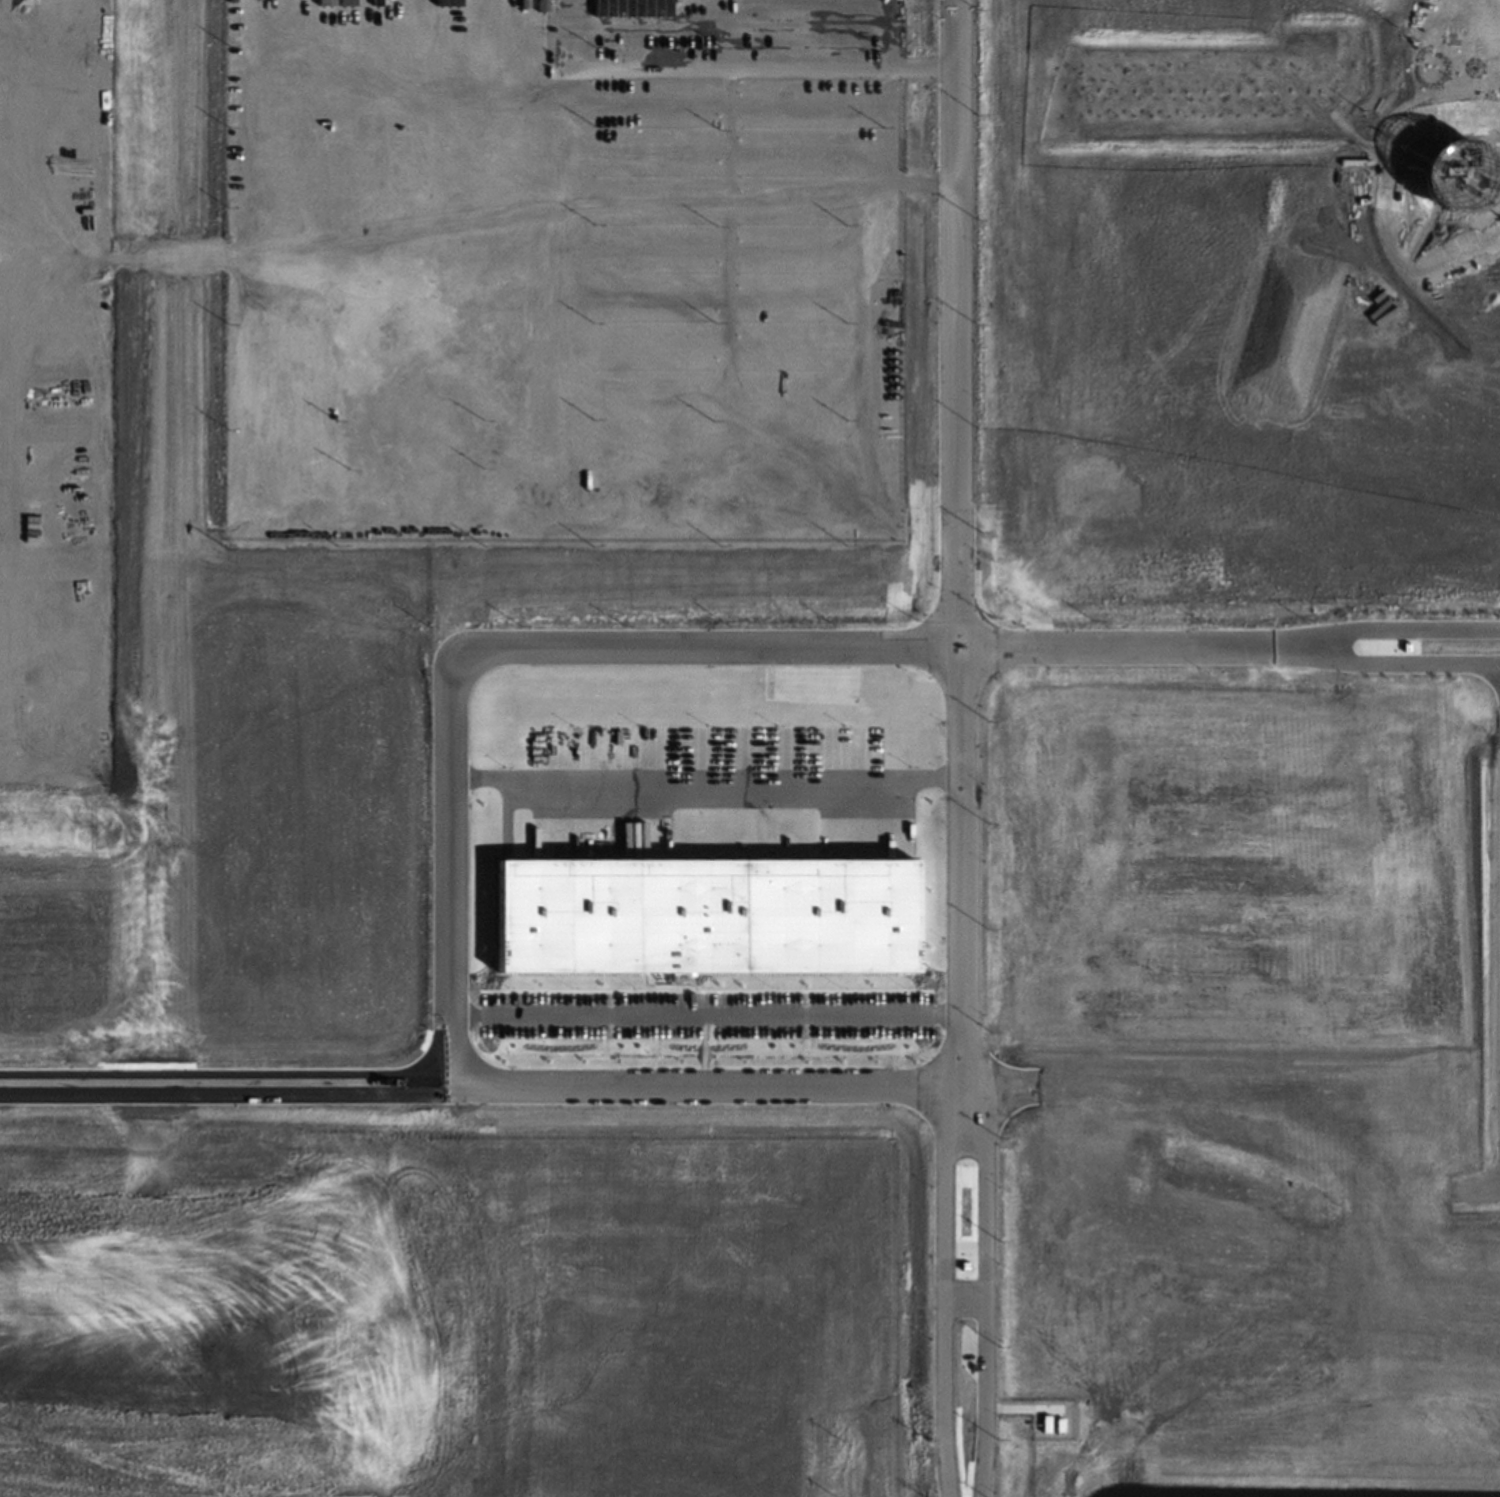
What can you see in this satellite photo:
building: (631, 8)
road: (766, 66)
building: (1454, 176)
road: (954, 541)
road: (1386, 627)
road: (650, 647)
road: (1387, 663)
road: (706, 776)
building: (701, 915)
road: (705, 1014)
road: (505, 1084)
road: (1477, 1191)
road: (985, 1287)
road: (939, 1288)
road: (962, 1301)

